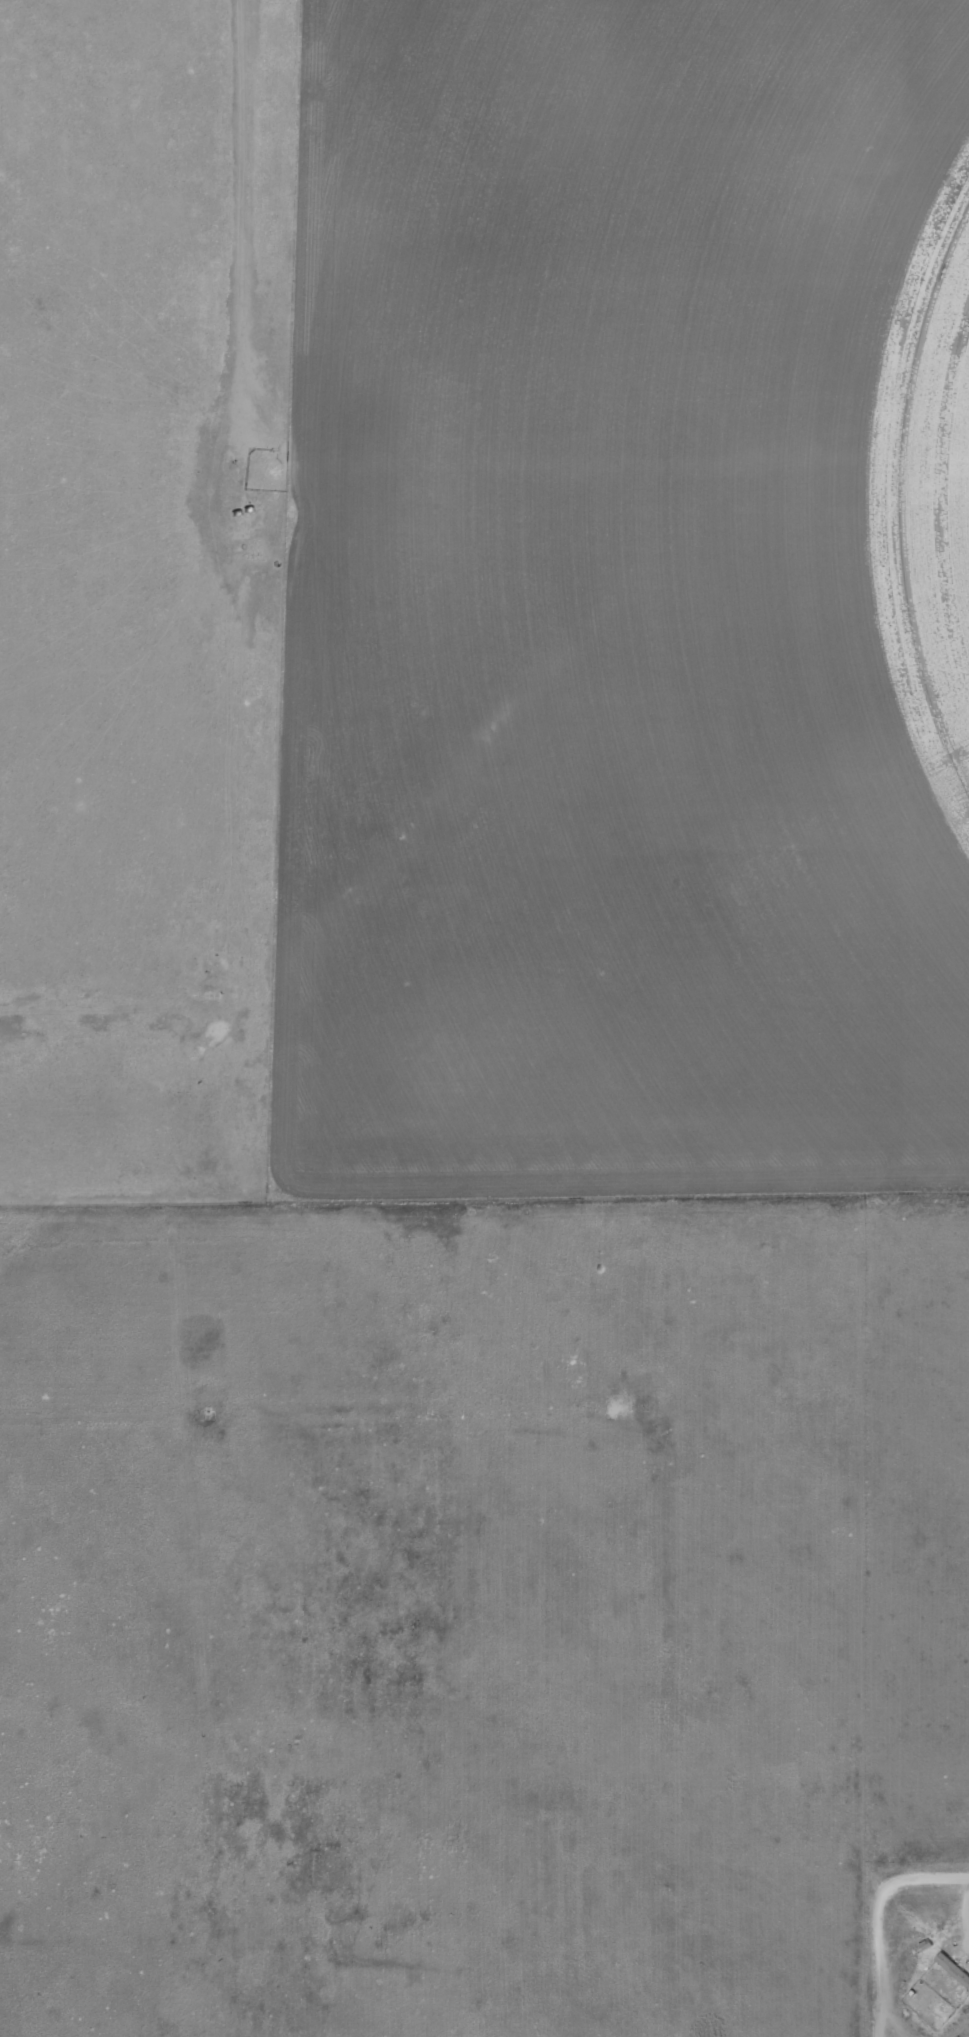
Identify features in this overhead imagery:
road: (934, 1879)
building: (955, 1967)

